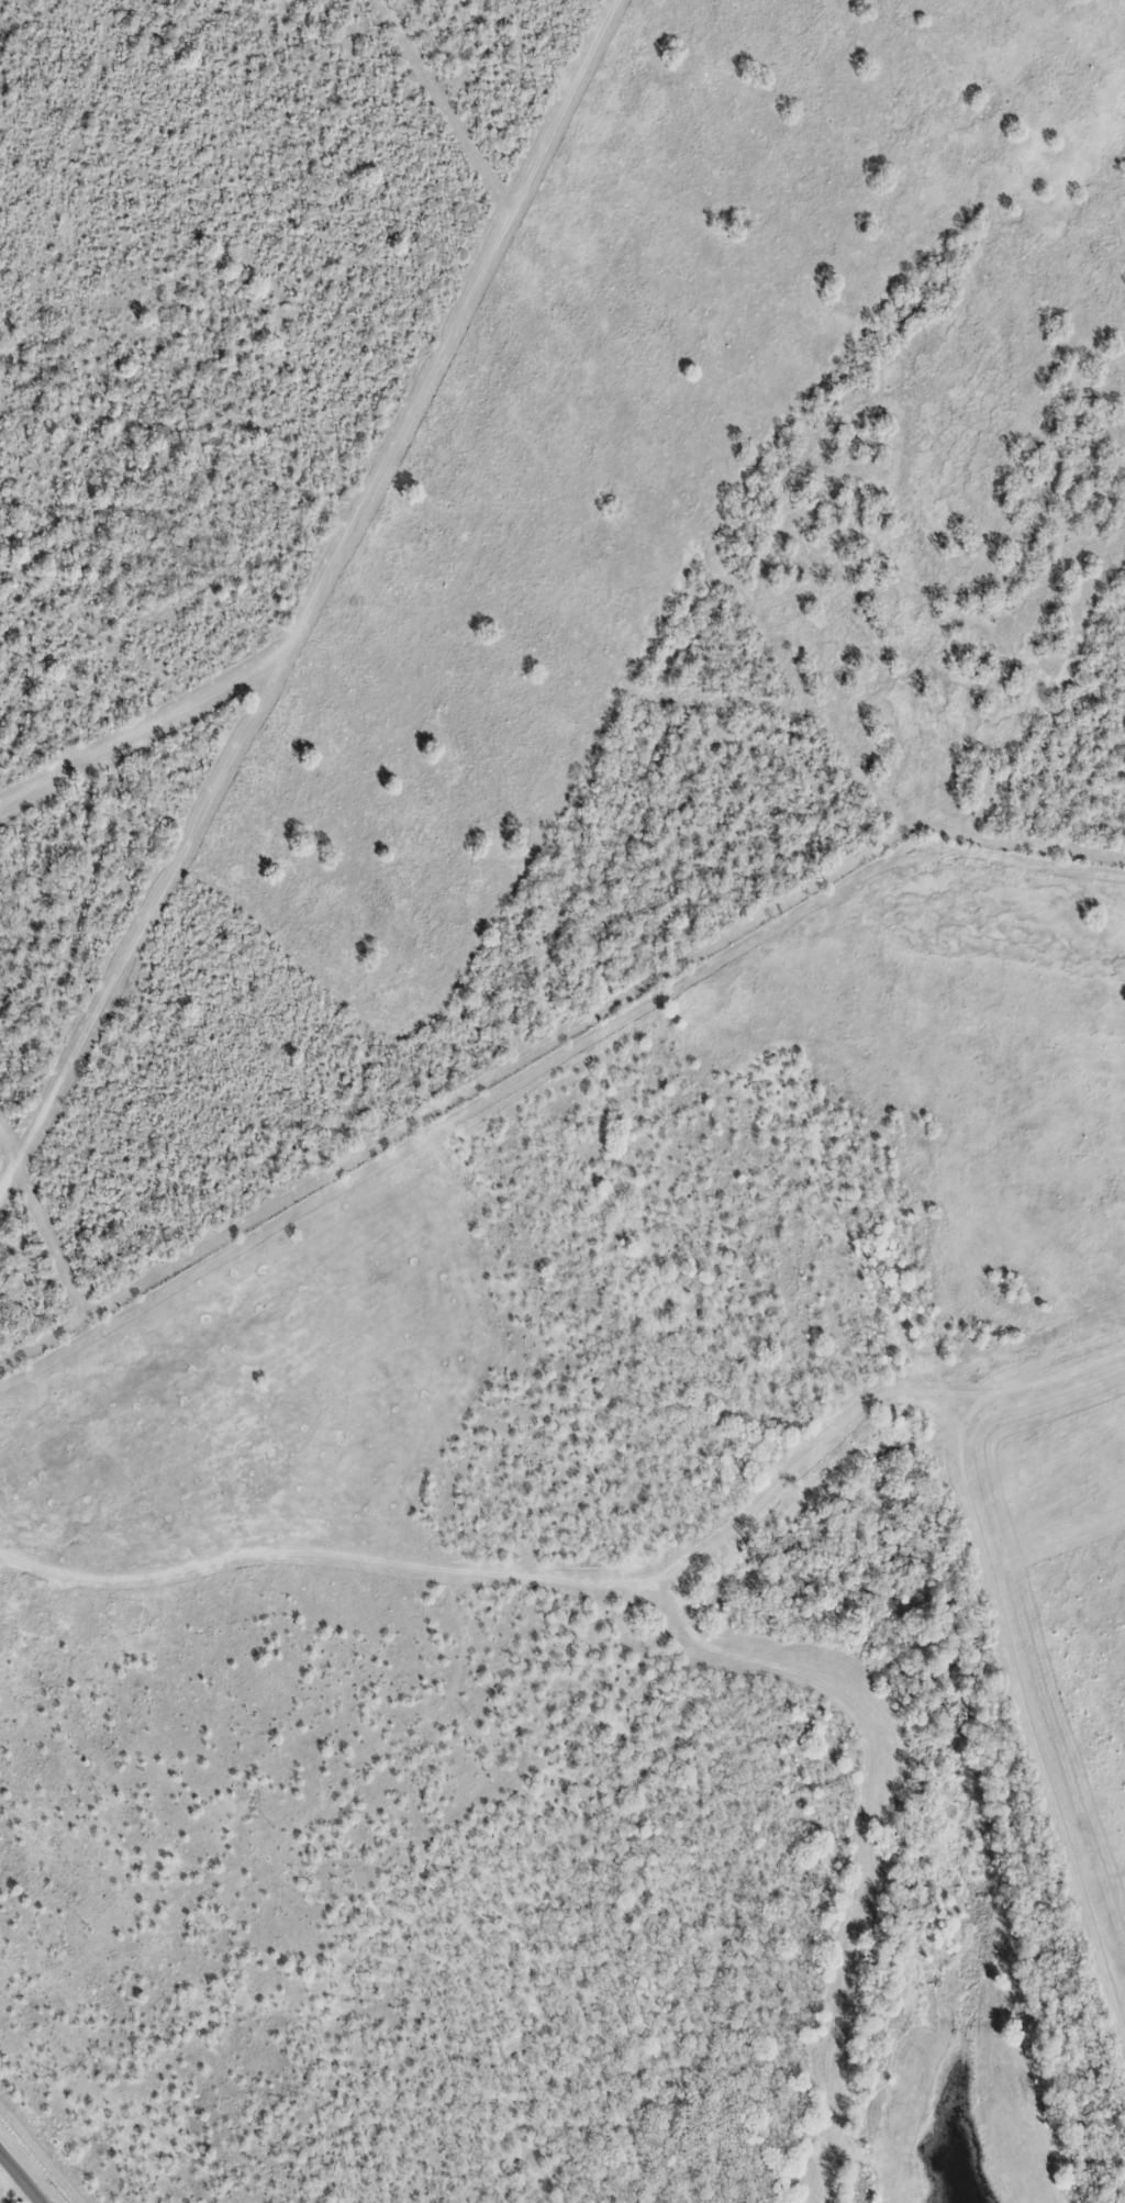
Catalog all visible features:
road: (24, 2173)

